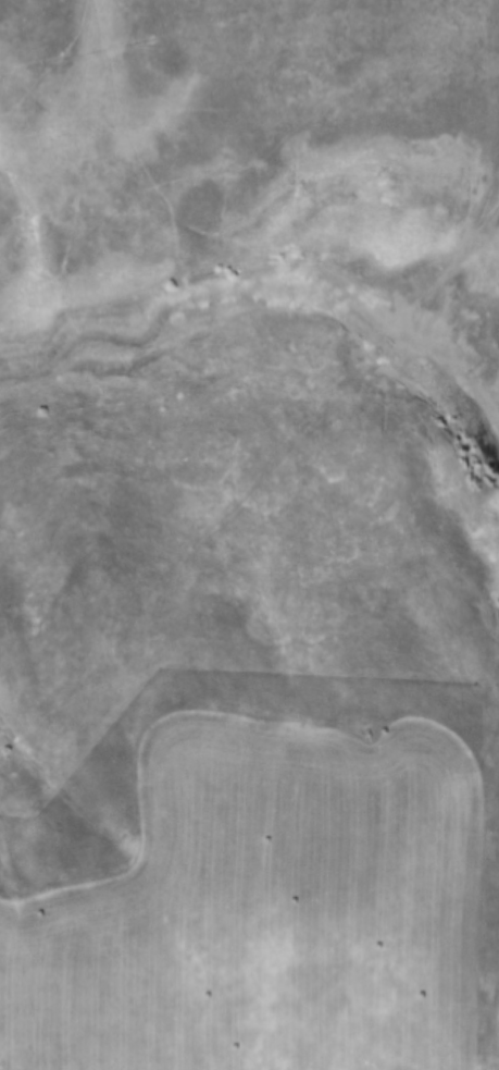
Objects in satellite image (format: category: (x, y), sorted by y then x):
road: (498, 1067)

